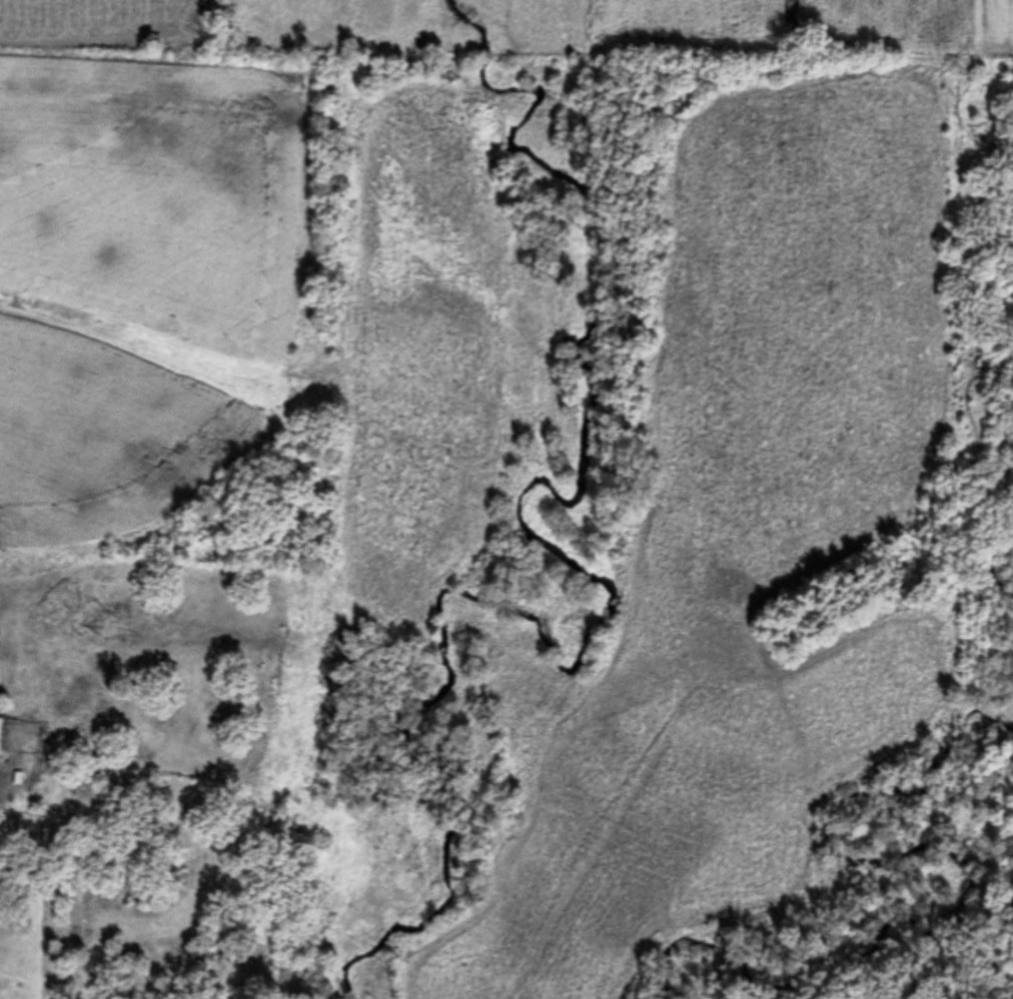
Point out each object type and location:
building: (0, 719)

